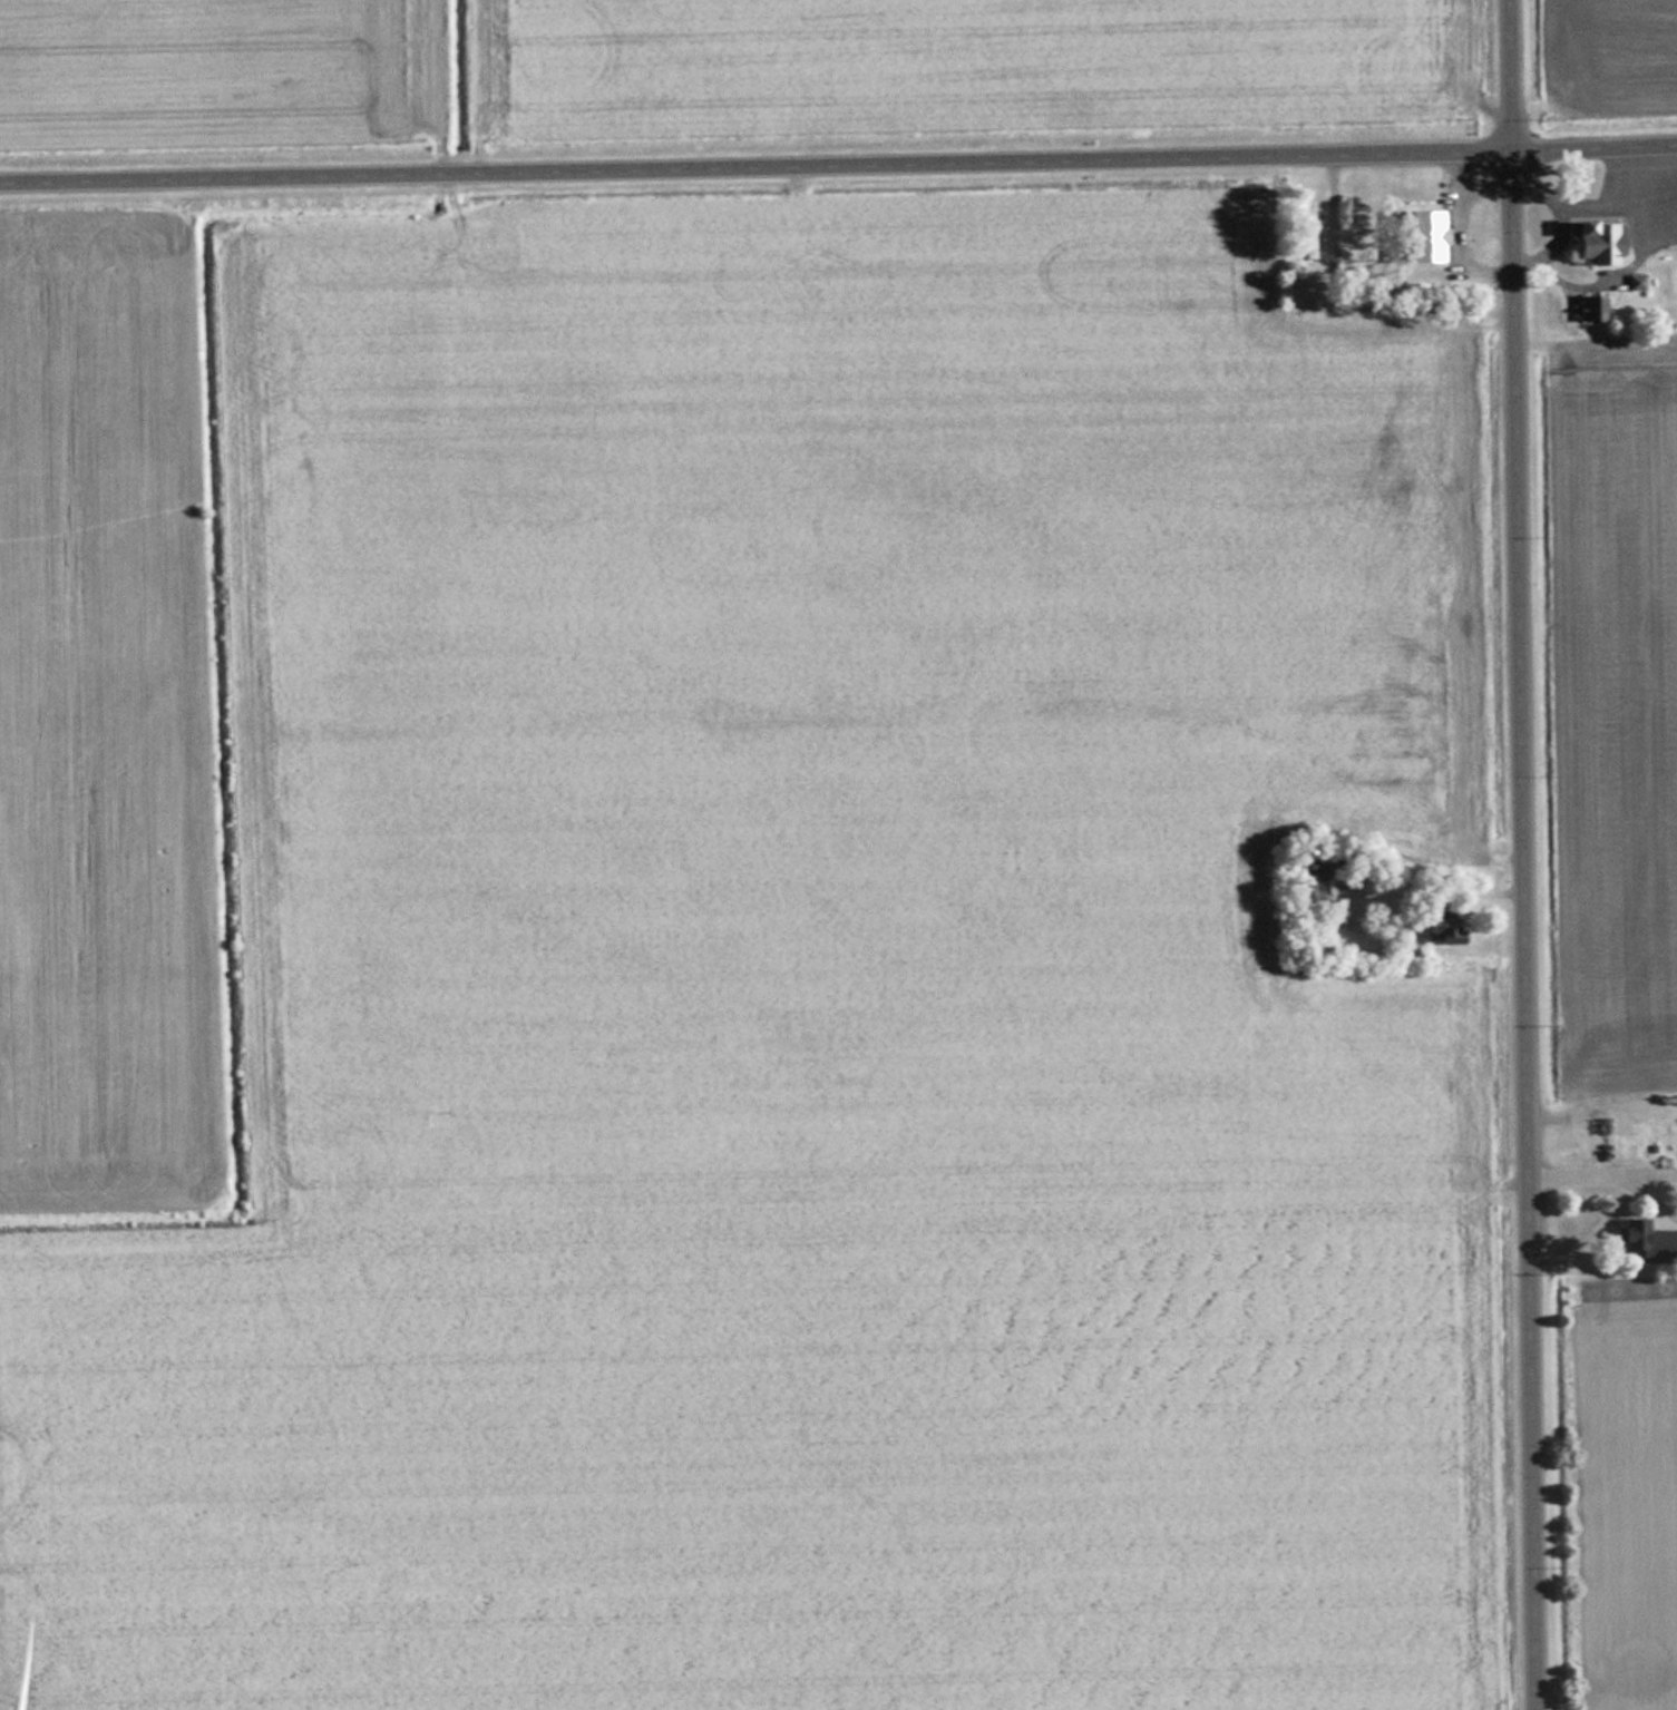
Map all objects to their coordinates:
road: (838, 162)
building: (1306, 229)
building: (1416, 234)
building: (1596, 241)
building: (1589, 307)
road: (1520, 854)
building: (1308, 880)
building: (1440, 930)
building: (1627, 1234)

